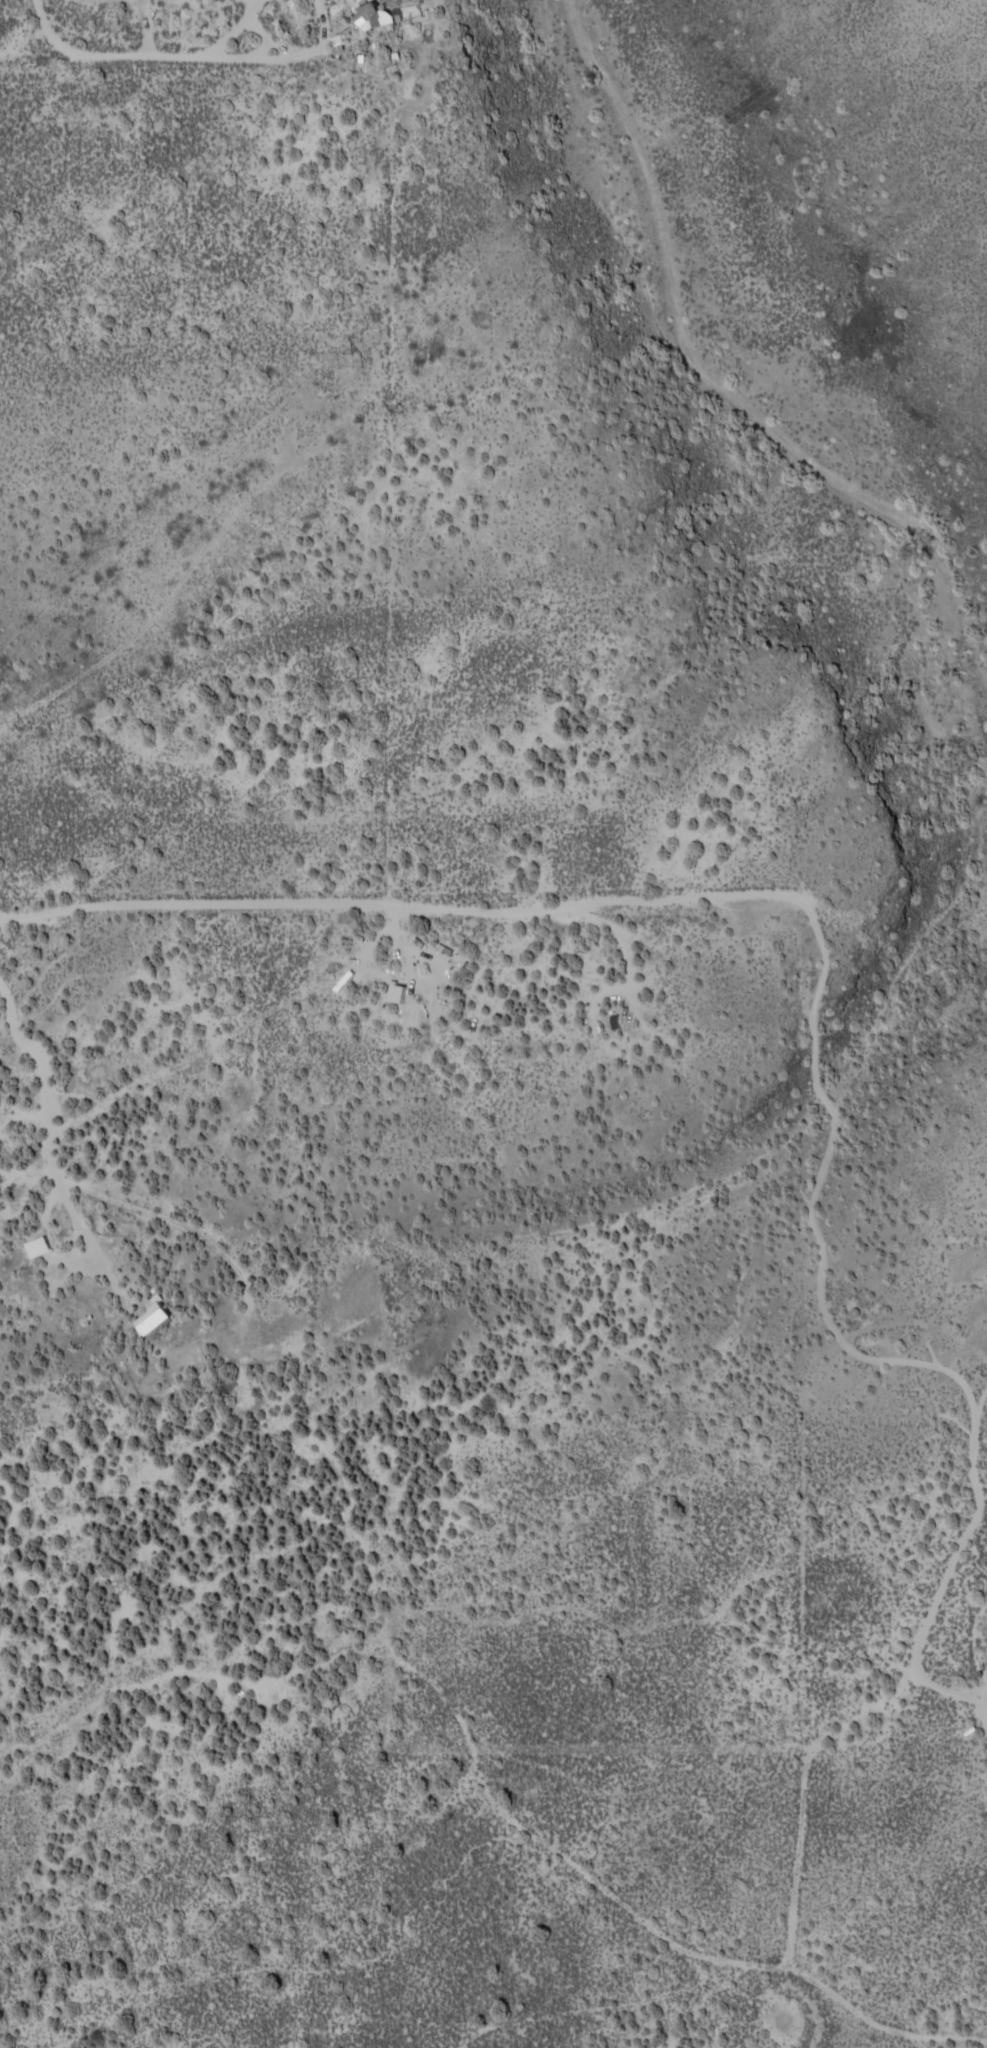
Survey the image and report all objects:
building: (380, 16)
power tower: (351, 360)
power tower: (408, 408)
power tower: (30, 721)
building: (399, 991)
building: (616, 1020)
building: (40, 1245)
building: (159, 1314)
road: (417, 1646)
road: (843, 2016)

